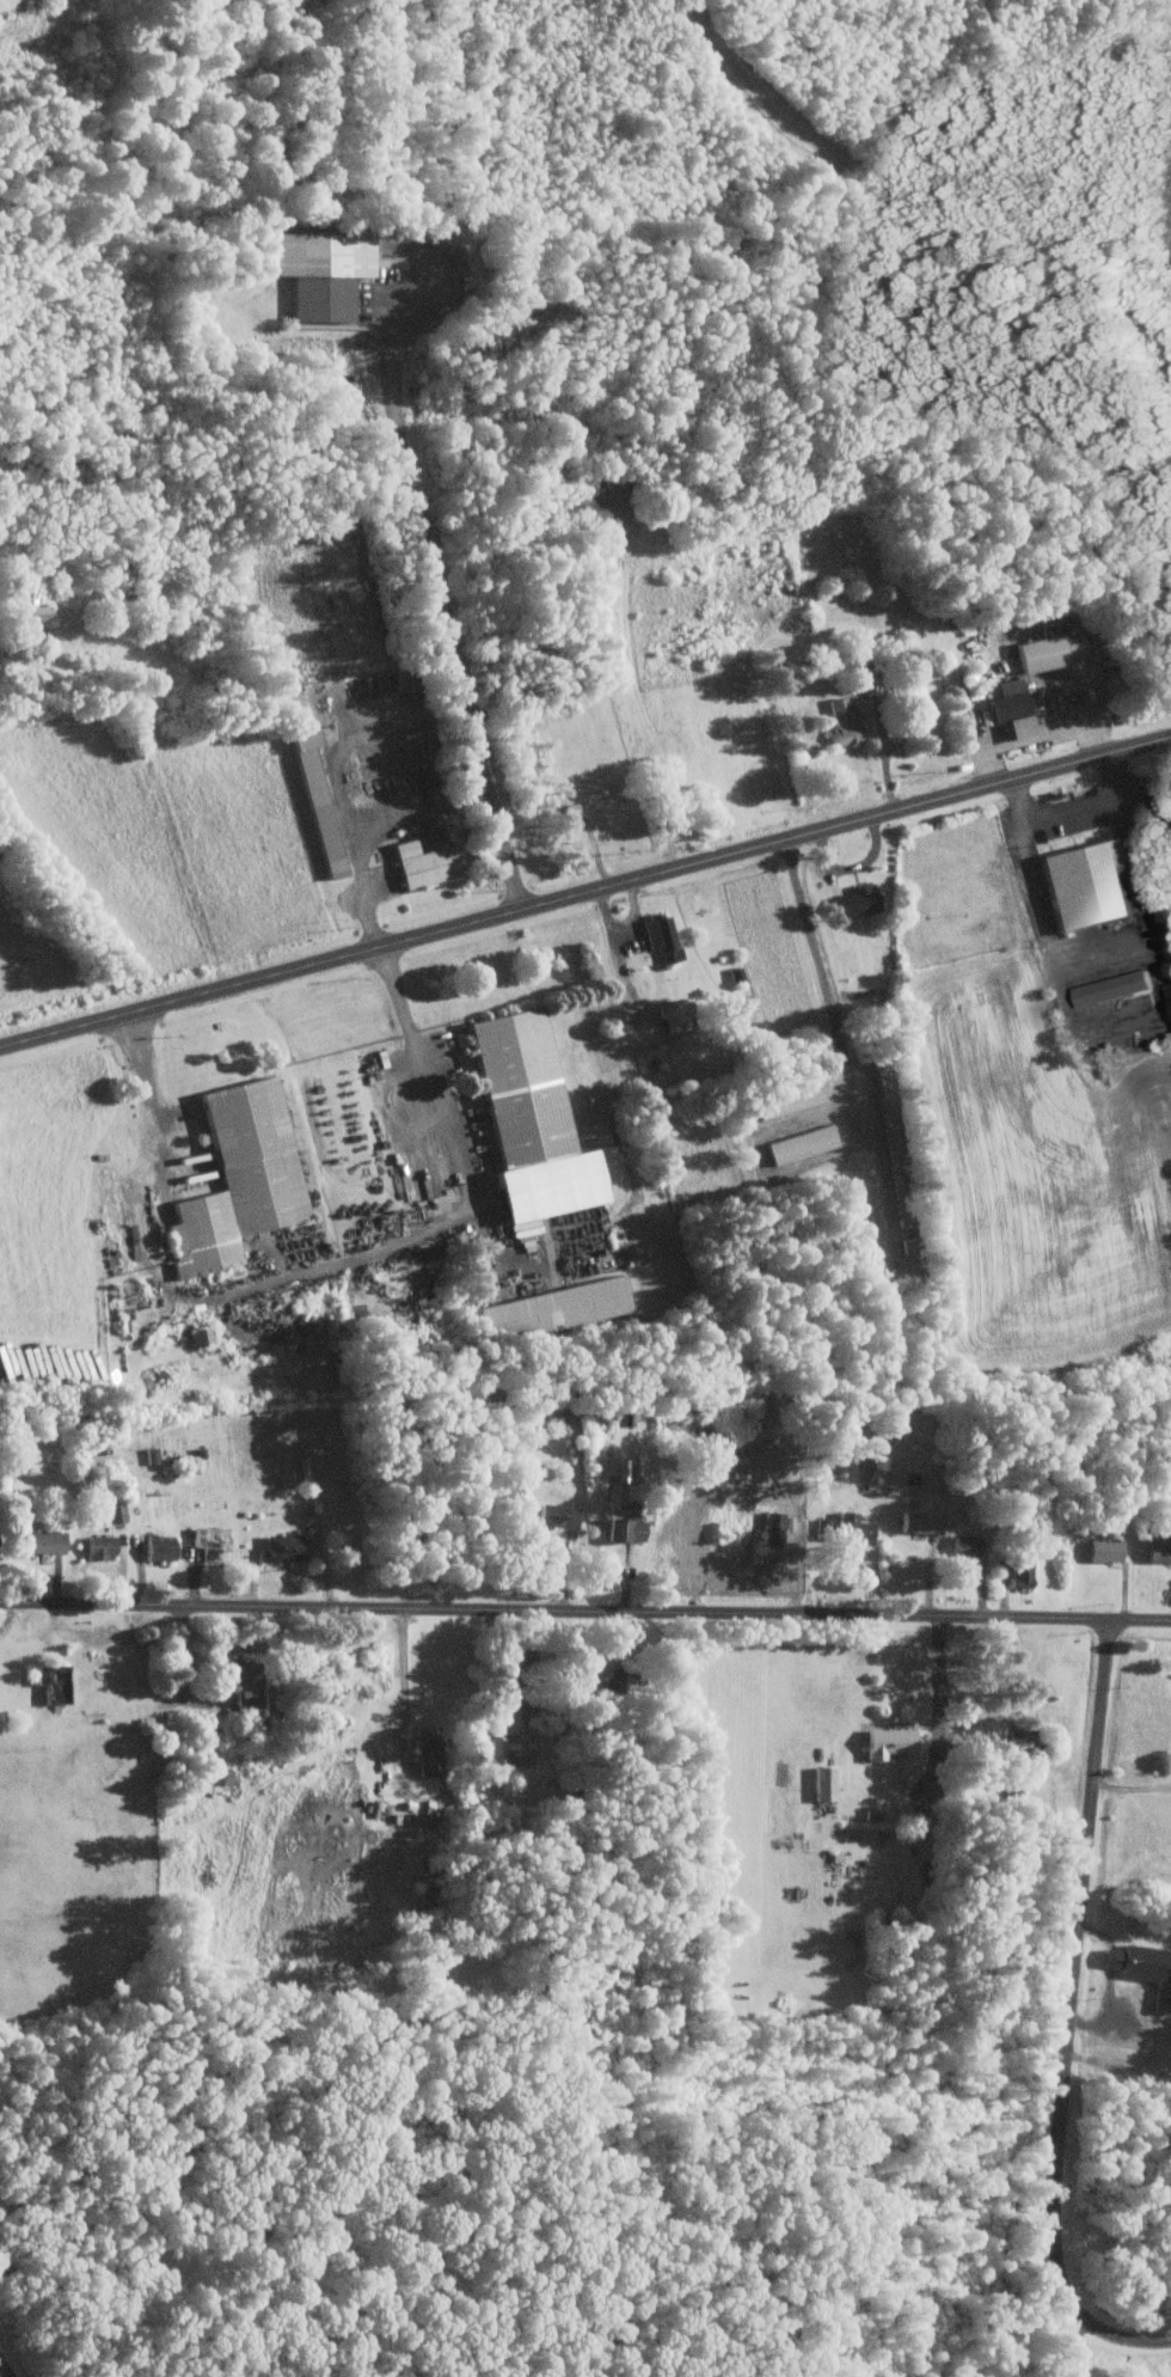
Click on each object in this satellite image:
building: (17, 6)
building: (390, 261)
building: (319, 269)
road: (441, 599)
building: (31, 606)
building: (859, 634)
building: (860, 650)
building: (1049, 652)
building: (871, 679)
road: (1098, 691)
building: (1006, 699)
building: (842, 721)
road: (1042, 738)
road: (338, 751)
road: (893, 787)
building: (313, 801)
building: (566, 808)
road: (1074, 808)
building: (422, 864)
road: (1132, 866)
road: (853, 867)
building: (1084, 885)
road: (584, 892)
building: (856, 902)
road: (624, 929)
building: (657, 930)
building: (674, 953)
road: (820, 959)
building: (1167, 959)
road: (621, 961)
building: (1112, 986)
building: (1167, 988)
building: (1170, 1002)
building: (676, 1015)
road: (1098, 1031)
road: (146, 1071)
building: (791, 1104)
building: (526, 1118)
building: (895, 1142)
building: (802, 1144)
road: (461, 1171)
building: (243, 1179)
building: (523, 1227)
building: (909, 1246)
building: (548, 1308)
building: (201, 1336)
building: (911, 1477)
building: (288, 1479)
building: (117, 1511)
building: (556, 1514)
building: (920, 1520)
building: (823, 1527)
building: (852, 1527)
building: (624, 1528)
building: (772, 1529)
building: (724, 1530)
building: (48, 1540)
building: (216, 1541)
building: (964, 1542)
building: (1157, 1544)
building: (105, 1545)
building: (288, 1546)
building: (165, 1548)
building: (1104, 1548)
building: (1022, 1568)
road: (470, 1607)
road: (1054, 1618)
building: (59, 1681)
building: (249, 1681)
road: (405, 1682)
road: (939, 1684)
building: (888, 1740)
building: (509, 1749)
building: (427, 1756)
building: (823, 1780)
road: (1130, 1786)
building: (870, 1813)
building: (1145, 1967)
road: (1071, 2018)
road: (1, 2373)

